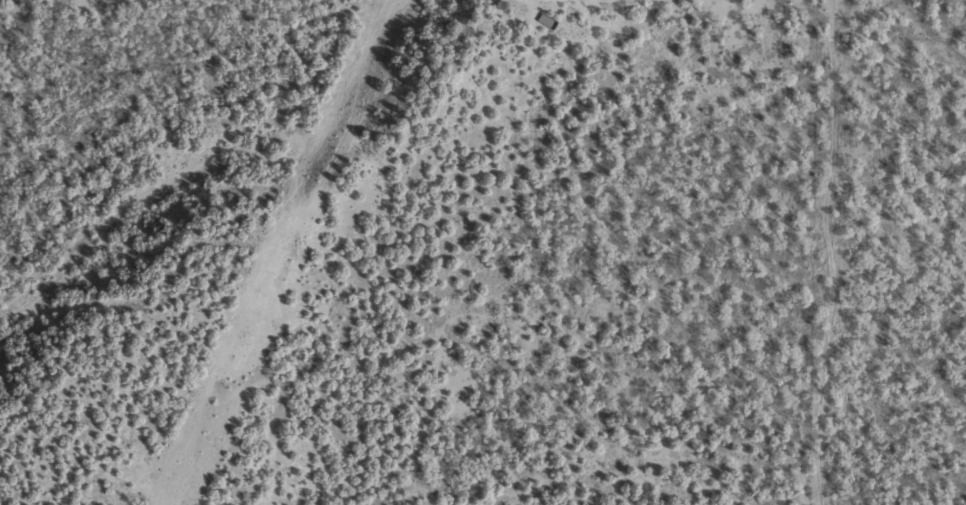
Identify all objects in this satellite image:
road: (673, 18)
road: (946, 27)
road: (649, 255)

